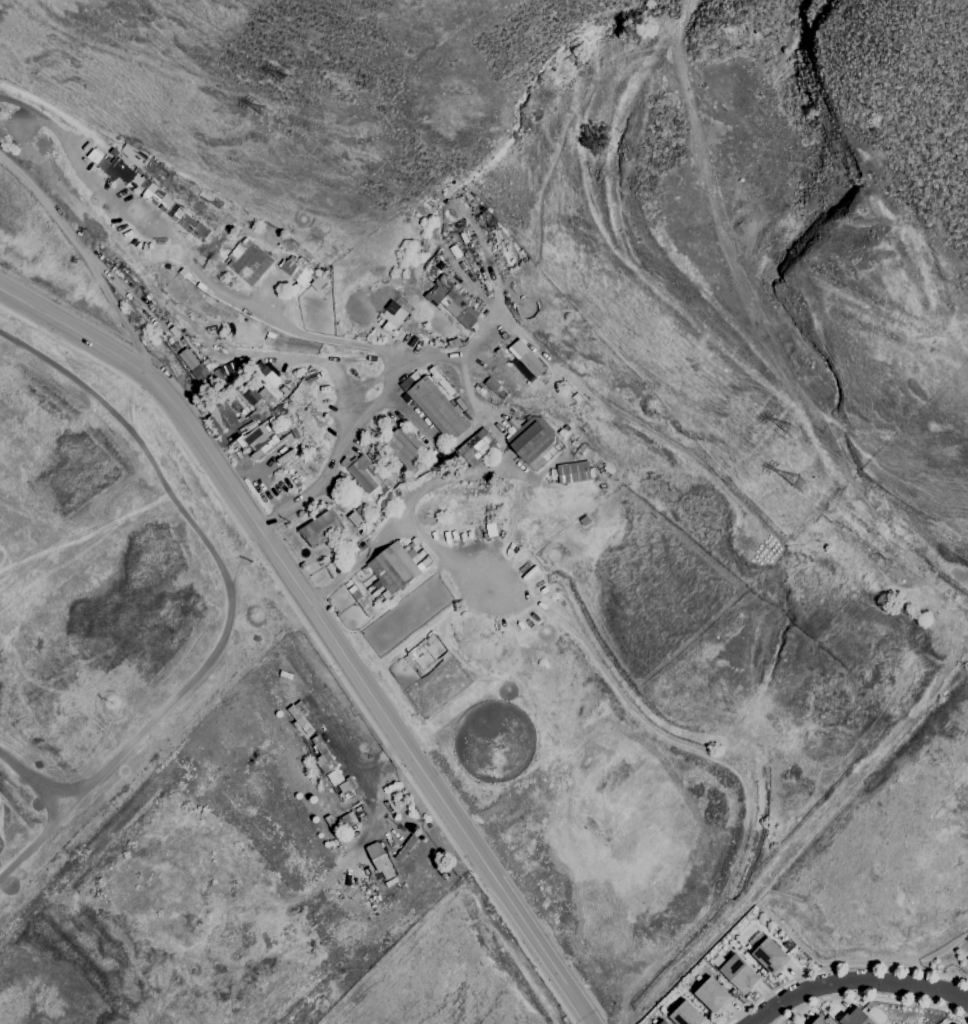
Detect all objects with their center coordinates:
power tower: (284, 84)
power tower: (262, 111)
building: (127, 166)
building: (185, 217)
building: (486, 219)
building: (465, 234)
road: (86, 254)
road: (183, 254)
building: (250, 261)
building: (296, 269)
building: (294, 292)
building: (454, 292)
building: (461, 314)
building: (389, 329)
building: (438, 346)
building: (531, 362)
building: (200, 372)
building: (441, 381)
building: (237, 384)
building: (492, 384)
building: (269, 387)
building: (205, 394)
building: (254, 398)
road: (374, 399)
building: (437, 409)
building: (223, 416)
power tower: (788, 426)
building: (532, 438)
building: (379, 439)
building: (263, 443)
building: (407, 448)
building: (477, 450)
building: (456, 455)
building: (574, 472)
building: (366, 474)
road: (444, 478)
power tower: (802, 485)
building: (358, 498)
building: (388, 500)
building: (364, 520)
building: (846, 524)
building: (321, 528)
building: (813, 539)
building: (413, 542)
building: (491, 554)
building: (859, 555)
building: (479, 556)
building: (394, 567)
building: (901, 579)
building: (956, 600)
building: (361, 602)
building: (934, 614)
road: (322, 629)
road: (314, 637)
building: (300, 717)
building: (323, 756)
building: (332, 777)
building: (345, 788)
building: (347, 820)
road: (813, 830)
building: (406, 848)
building: (380, 860)
building: (392, 882)
building: (773, 956)
park: (948, 963)
road: (839, 966)
building: (741, 972)
road: (855, 981)
building: (717, 996)
building: (690, 1014)
building: (856, 1017)
building: (665, 1022)
building: (824, 1022)
building: (958, 1022)

